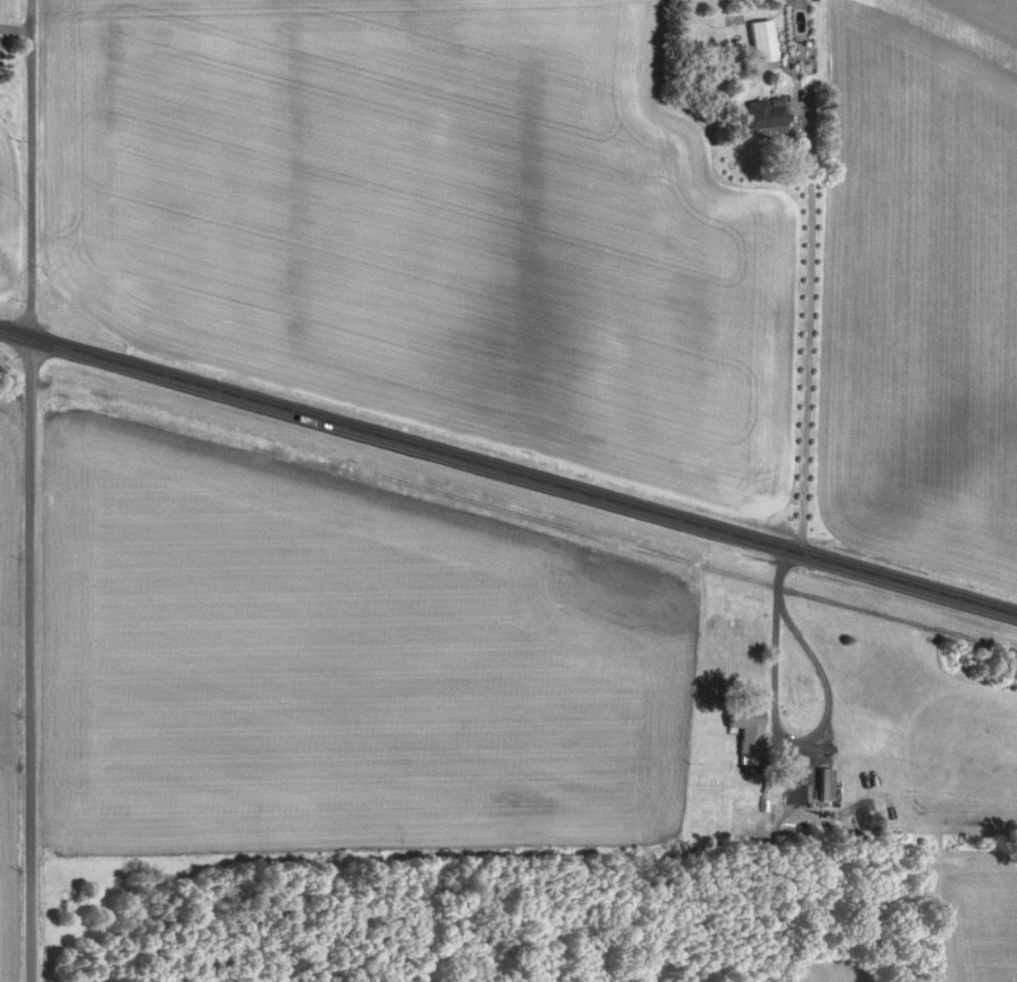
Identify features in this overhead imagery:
building: (763, 46)
road: (29, 169)
road: (807, 324)
road: (508, 472)
road: (28, 660)
building: (754, 725)
road: (781, 738)

